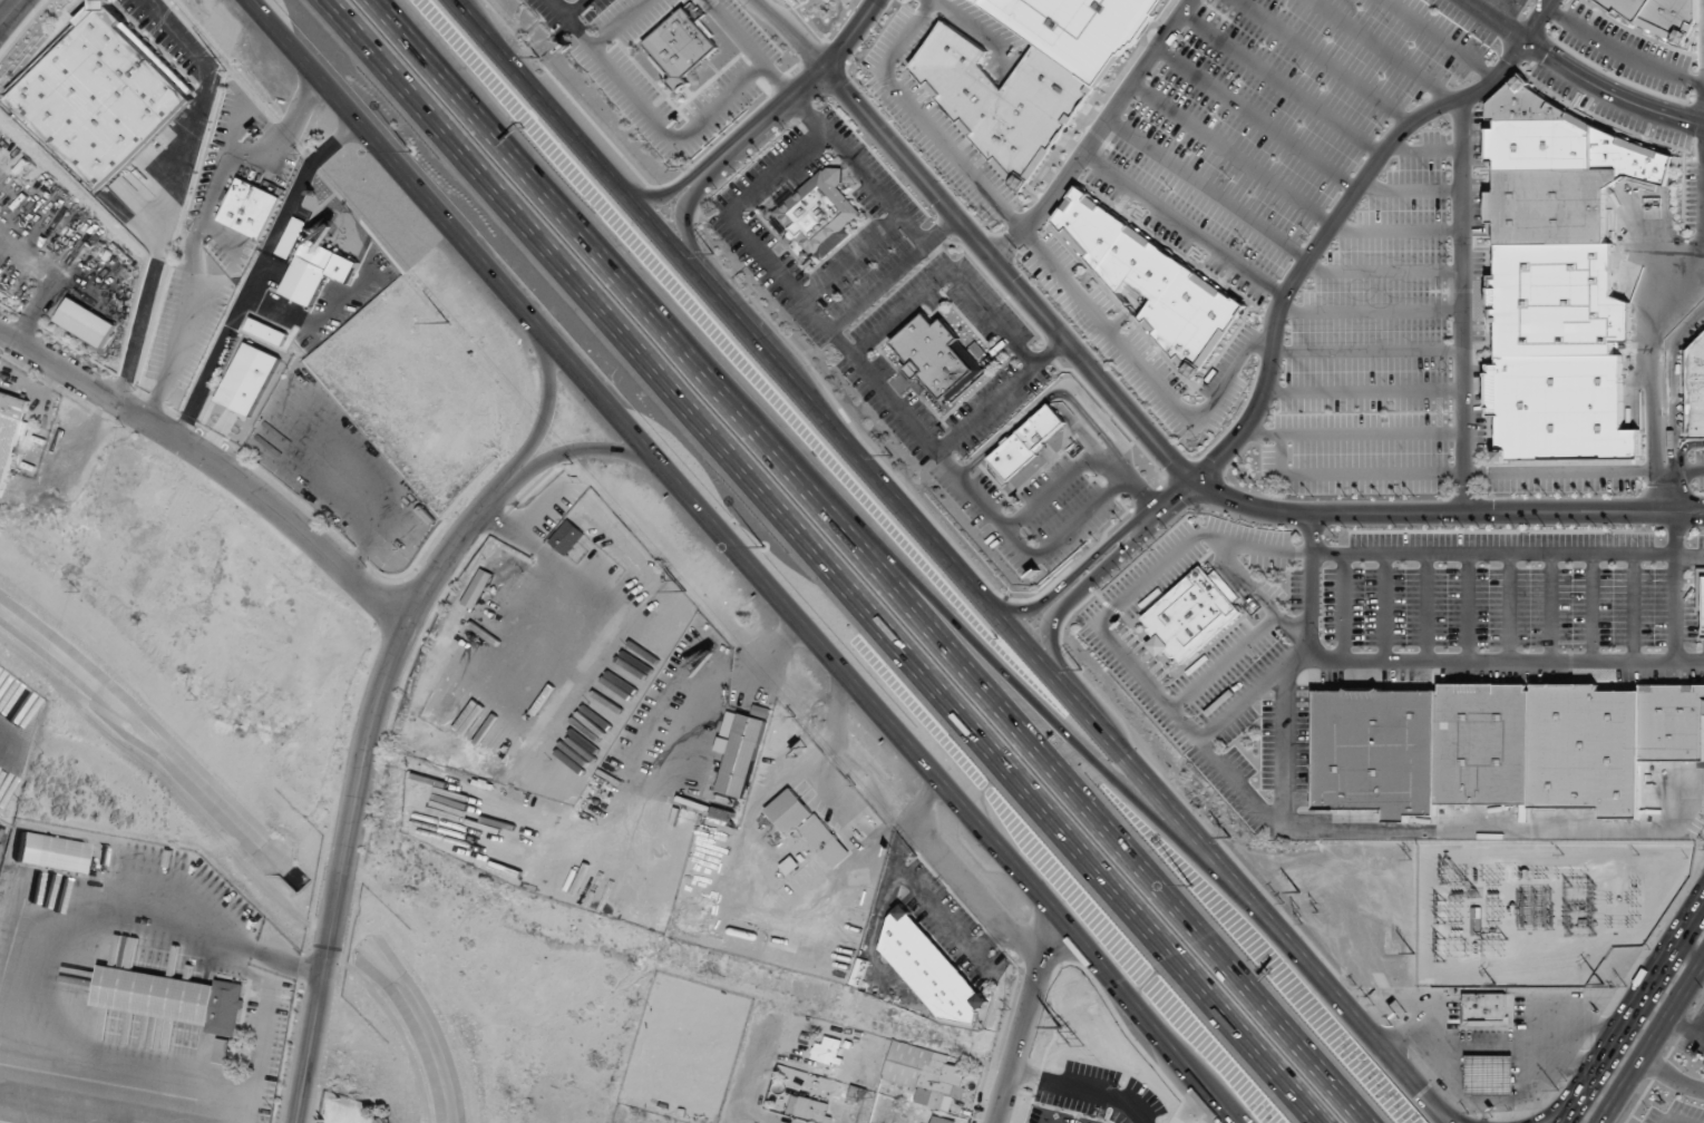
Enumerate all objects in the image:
road: (575, 8)
road: (11, 13)
building: (1661, 16)
road: (622, 23)
building: (1078, 28)
road: (978, 29)
road: (792, 33)
road: (1443, 38)
building: (680, 46)
road: (751, 49)
road: (1383, 50)
road: (1622, 52)
road: (305, 53)
road: (1323, 61)
road: (614, 69)
road: (1576, 74)
road: (1282, 82)
road: (800, 92)
building: (103, 95)
road: (720, 101)
road: (1257, 118)
road: (484, 126)
road: (1094, 133)
road: (1425, 148)
road: (1233, 153)
road: (861, 170)
road: (1207, 188)
road: (1413, 189)
road: (670, 194)
building: (250, 208)
building: (818, 212)
road: (685, 219)
road: (1181, 225)
road: (1399, 232)
building: (291, 236)
road: (1316, 247)
road: (853, 255)
road: (1049, 258)
road: (950, 268)
building: (309, 272)
road: (1384, 272)
road: (894, 273)
building: (1558, 280)
building: (1153, 281)
road: (1468, 302)
road: (1373, 311)
road: (839, 338)
road: (1370, 351)
building: (938, 357)
road: (1657, 369)
building: (0, 370)
building: (247, 379)
road: (1671, 383)
building: (1696, 389)
road: (1367, 390)
road: (1002, 396)
road: (1041, 400)
road: (549, 401)
building: (9, 431)
road: (1354, 432)
road: (1088, 441)
building: (1024, 442)
road: (584, 448)
road: (1683, 450)
road: (212, 461)
road: (1181, 469)
road: (1471, 471)
road: (1135, 484)
road: (1057, 485)
road: (1672, 491)
road: (1081, 517)
building: (566, 538)
road: (1494, 551)
road: (1691, 553)
road: (743, 558)
road: (952, 560)
road: (818, 563)
road: (1243, 576)
road: (1067, 580)
road: (1677, 585)
building: (478, 588)
building: (1701, 588)
road: (1077, 589)
road: (945, 609)
building: (1188, 615)
building: (1703, 626)
road: (1114, 639)
road: (1437, 660)
road: (982, 691)
road: (837, 706)
building: (1486, 743)
building: (742, 755)
road: (361, 778)
road: (879, 794)
road: (924, 802)
building: (805, 824)
building: (50, 852)
building: (790, 863)
road: (750, 898)
power substation: (1539, 907)
building: (1476, 921)
building: (931, 969)
power tower: (1493, 983)
power tower: (1603, 983)
road: (1642, 993)
building: (171, 997)
building: (1486, 1008)
road: (1026, 1021)
road: (1653, 1042)
building: (223, 1051)
building: (827, 1051)
building: (924, 1074)
building: (1490, 1074)
gas station: (1490, 1074)
road: (757, 1076)
road: (1672, 1077)
road: (1571, 1109)
road: (1556, 1110)
building: (938, 1120)

